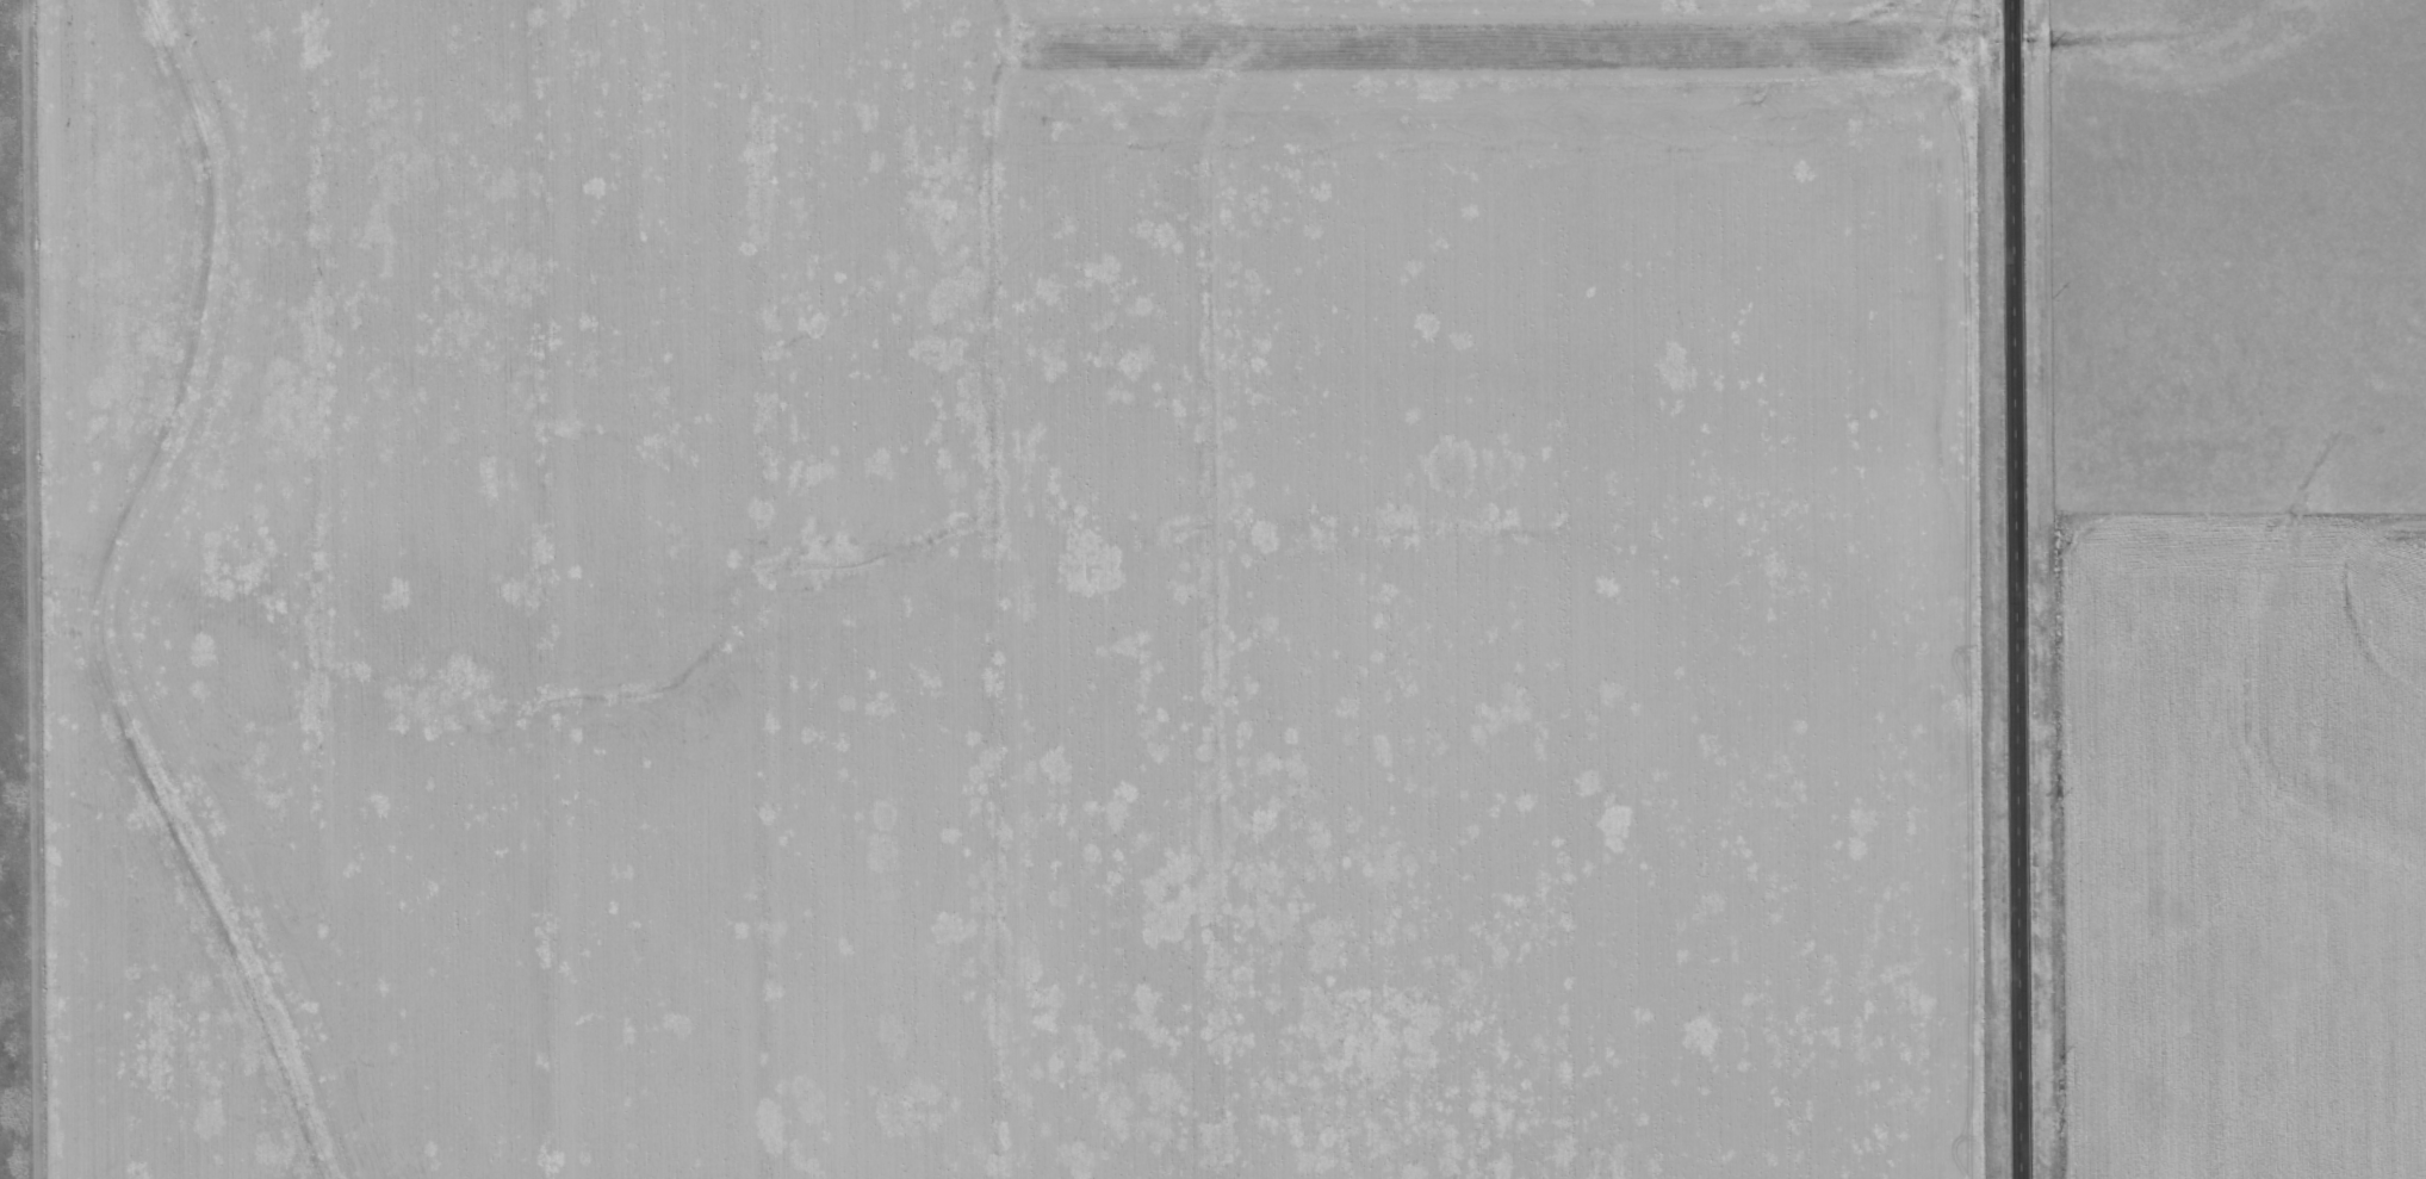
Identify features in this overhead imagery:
road: (2018, 589)

